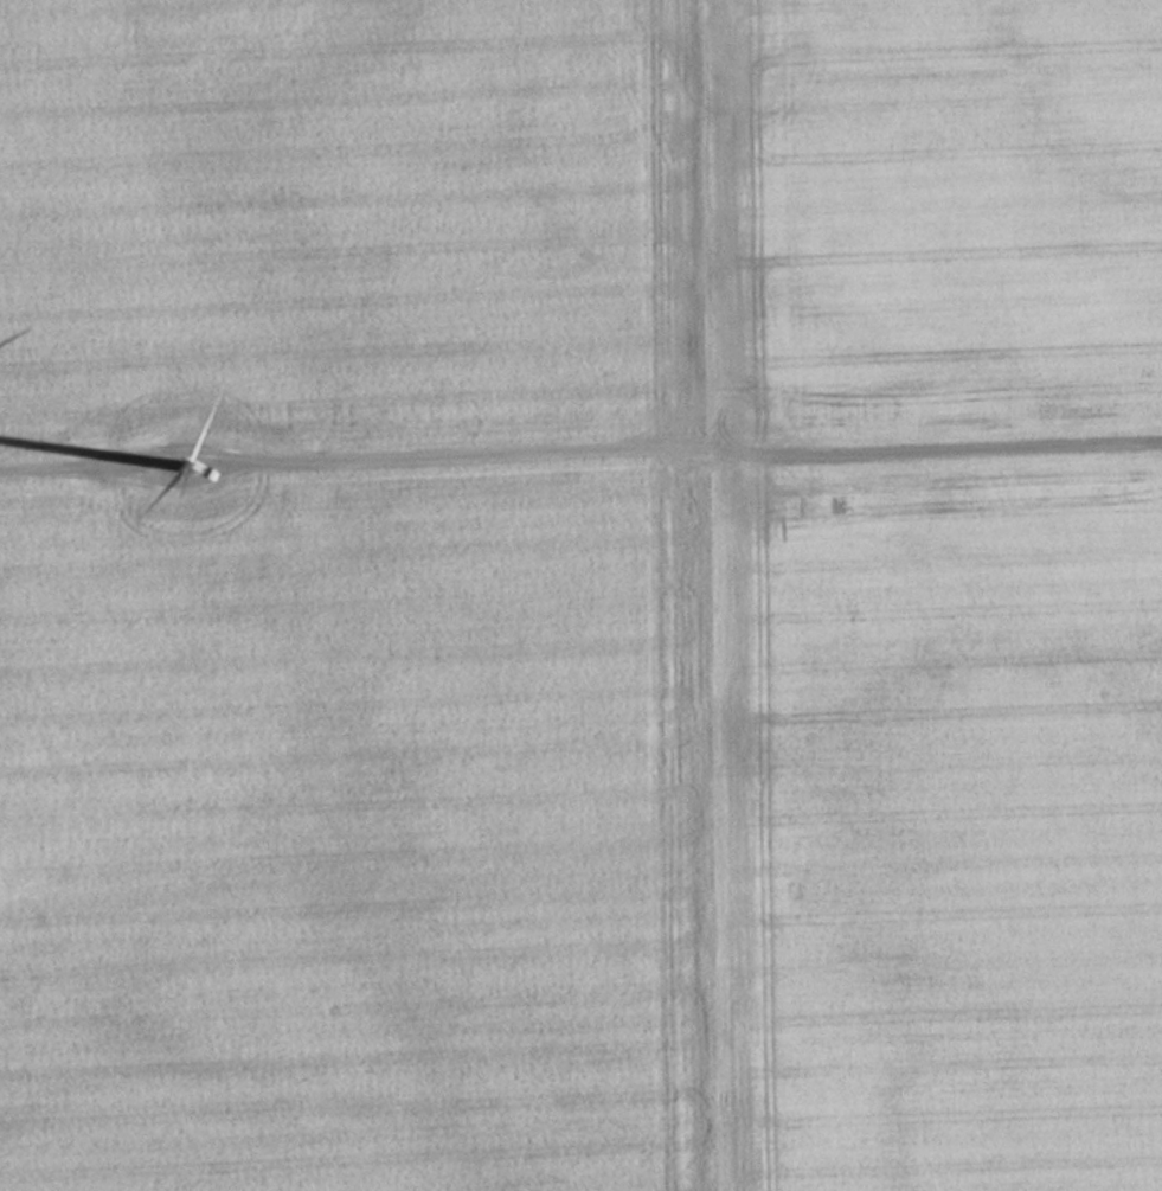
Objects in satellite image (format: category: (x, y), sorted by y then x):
wind turbine: (204, 460)
road: (83, 472)

